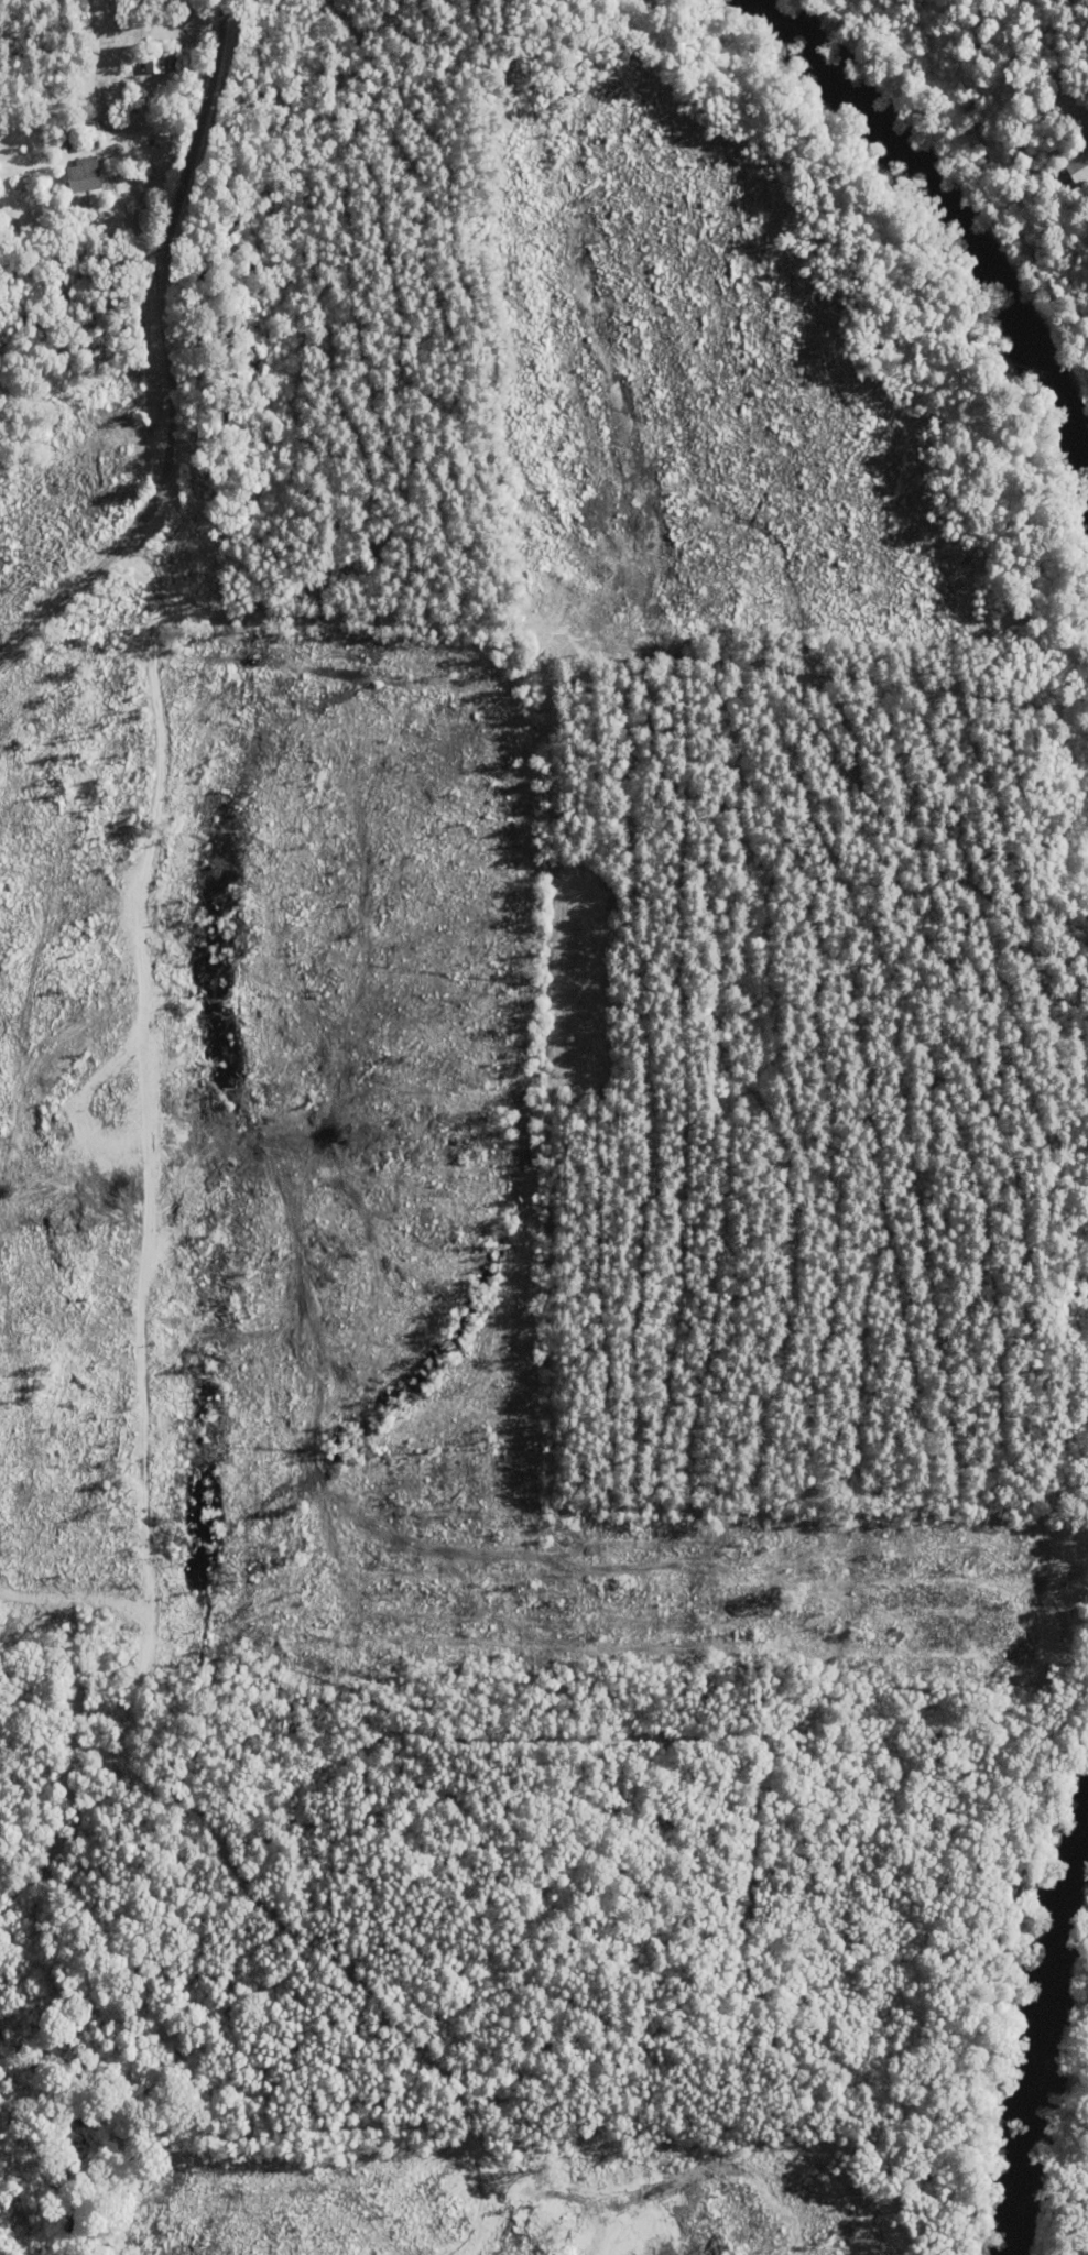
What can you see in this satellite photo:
building: (157, 57)
building: (65, 134)
building: (1080, 165)
building: (85, 175)
river: (958, 198)
road: (164, 358)
road: (371, 477)
river: (1032, 2063)

